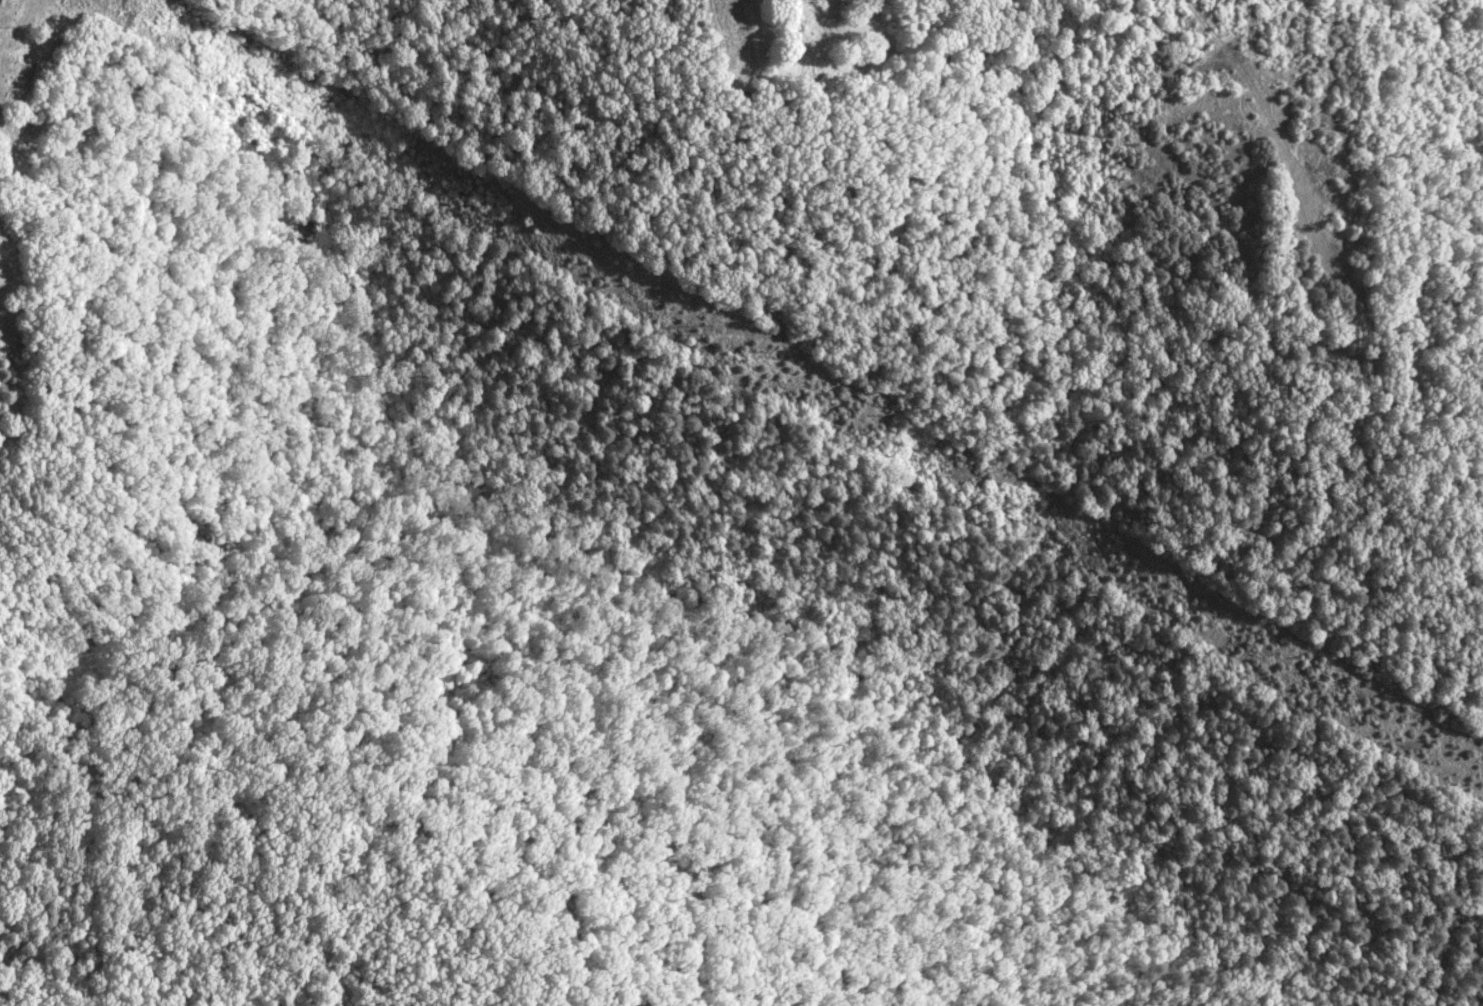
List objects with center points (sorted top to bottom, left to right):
power tower: (708, 334)
power tower: (1355, 701)

